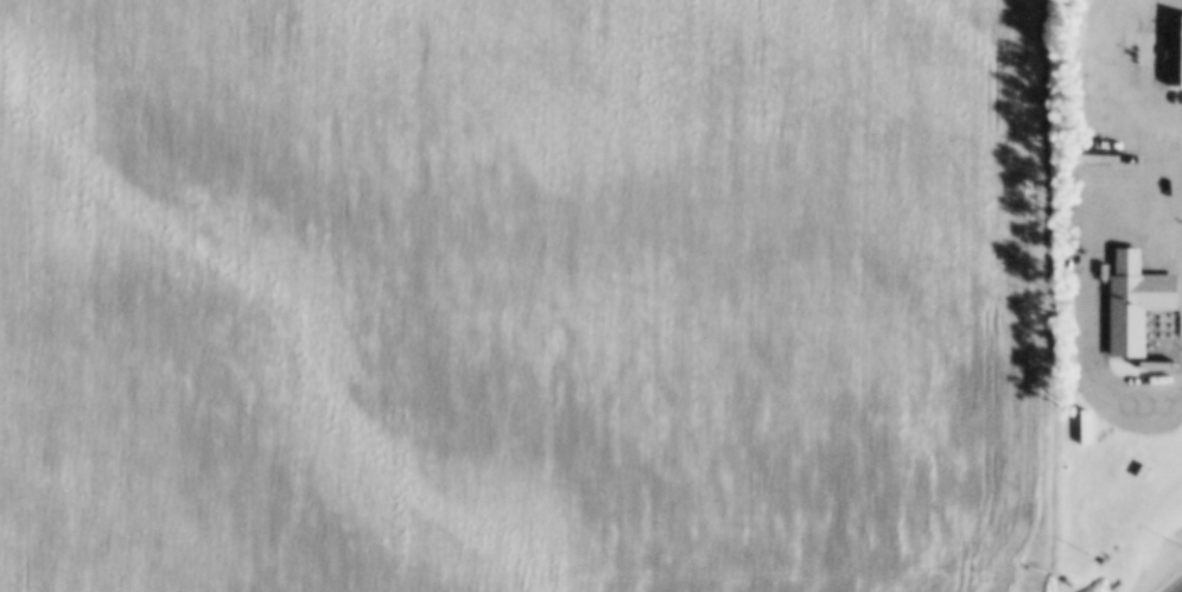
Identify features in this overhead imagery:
building: (1175, 55)
building: (1136, 305)

